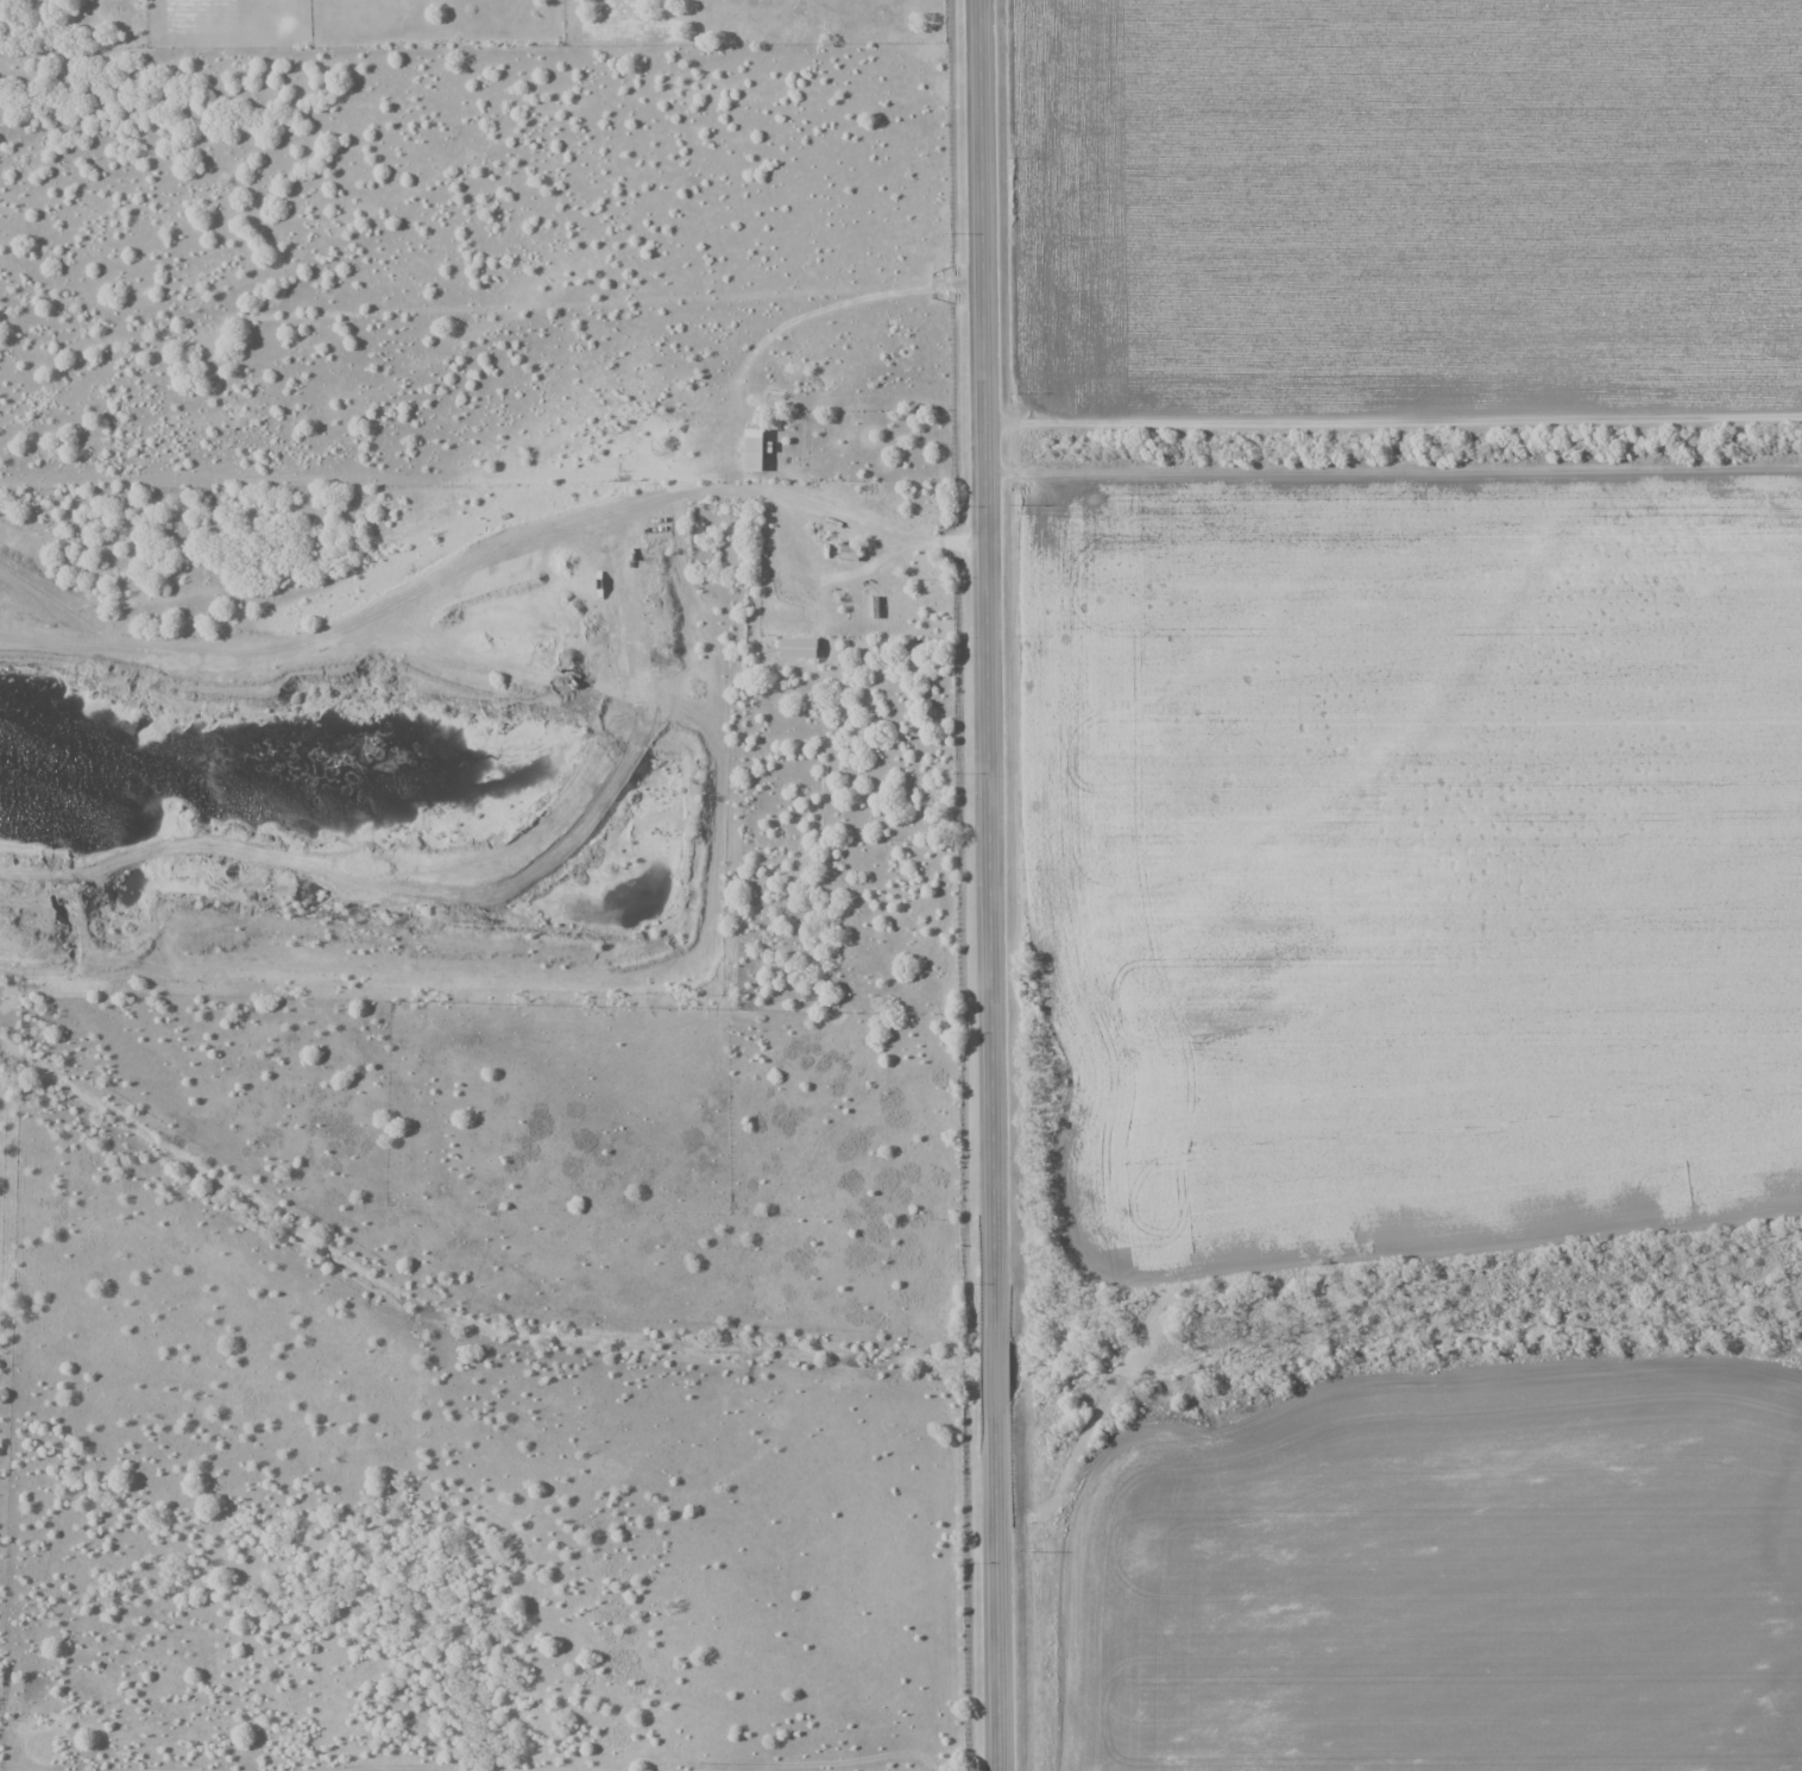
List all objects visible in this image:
building: (796, 648)
road: (991, 884)

